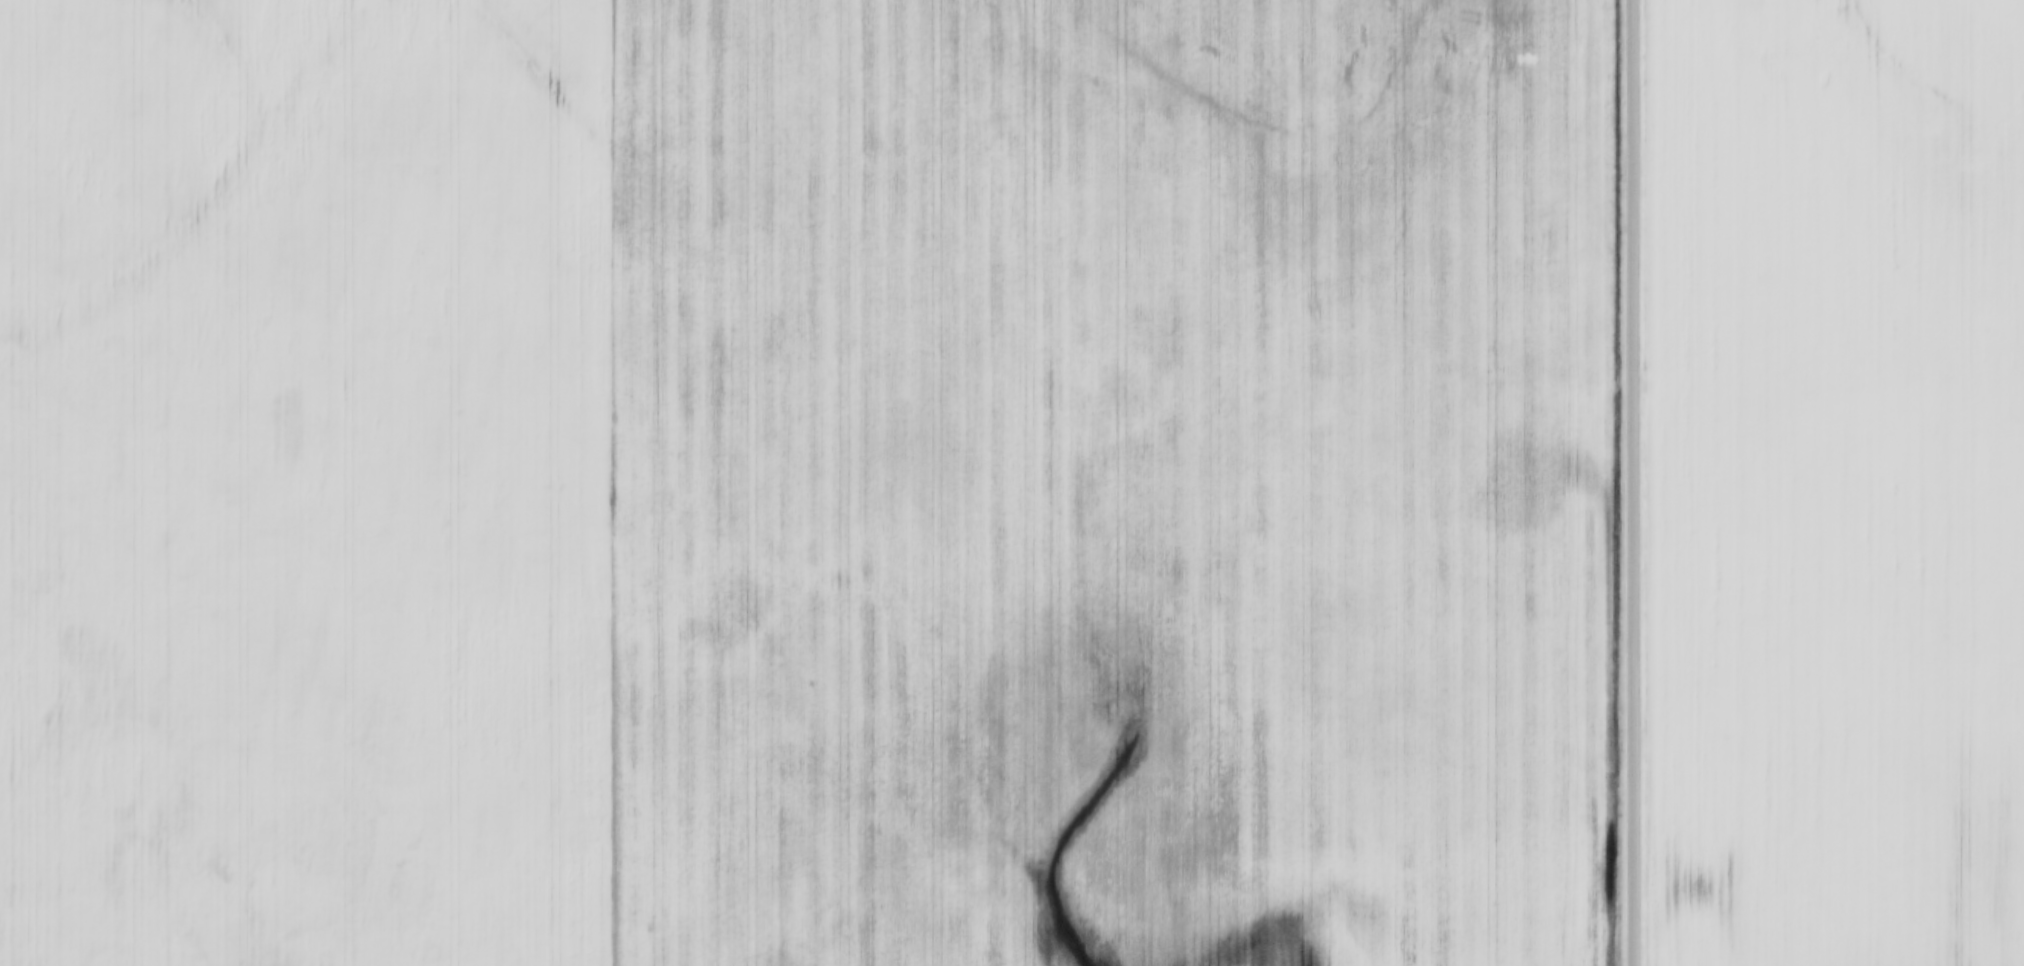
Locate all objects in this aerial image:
road: (1633, 483)

